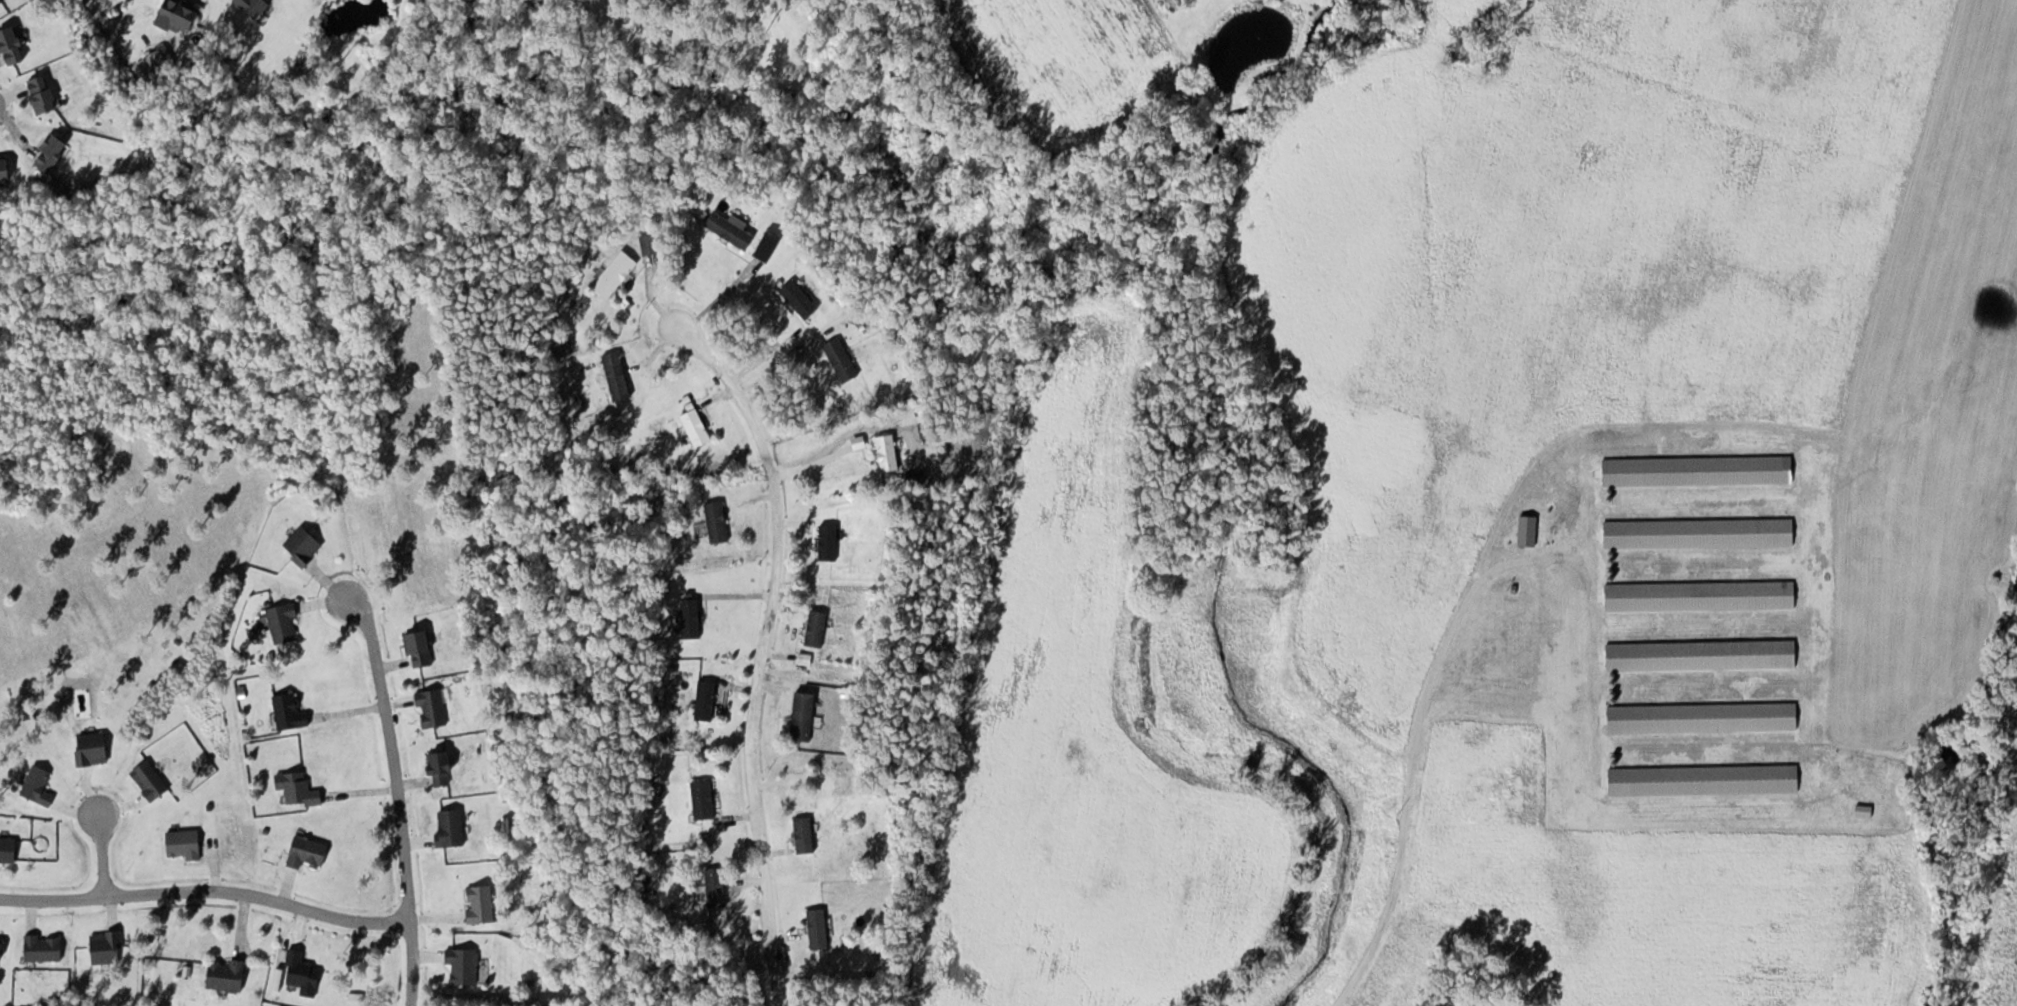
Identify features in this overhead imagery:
building: (3, 2)
building: (180, 17)
building: (14, 45)
crop: (1069, 57)
building: (44, 94)
building: (55, 152)
building: (7, 167)
building: (731, 229)
building: (651, 243)
building: (770, 244)
building: (617, 274)
building: (801, 299)
building: (843, 360)
building: (619, 376)
building: (699, 428)
building: (889, 452)
building: (1700, 470)
building: (719, 521)
building: (1529, 530)
building: (1700, 532)
building: (830, 542)
building: (1702, 595)
building: (693, 617)
building: (818, 627)
building: (422, 647)
road: (761, 649)
building: (1703, 654)
building: (708, 699)
building: (434, 707)
building: (291, 710)
building: (805, 714)
building: (1704, 716)
building: (444, 765)
building: (1705, 779)
building: (299, 787)
road: (396, 793)
building: (705, 798)
building: (452, 827)
building: (807, 834)
building: (186, 843)
building: (9, 849)
road: (103, 851)
building: (310, 851)
building: (718, 887)
road: (206, 891)
building: (483, 903)
building: (820, 927)
building: (3, 947)
building: (465, 964)
building: (305, 972)
building: (229, 974)

